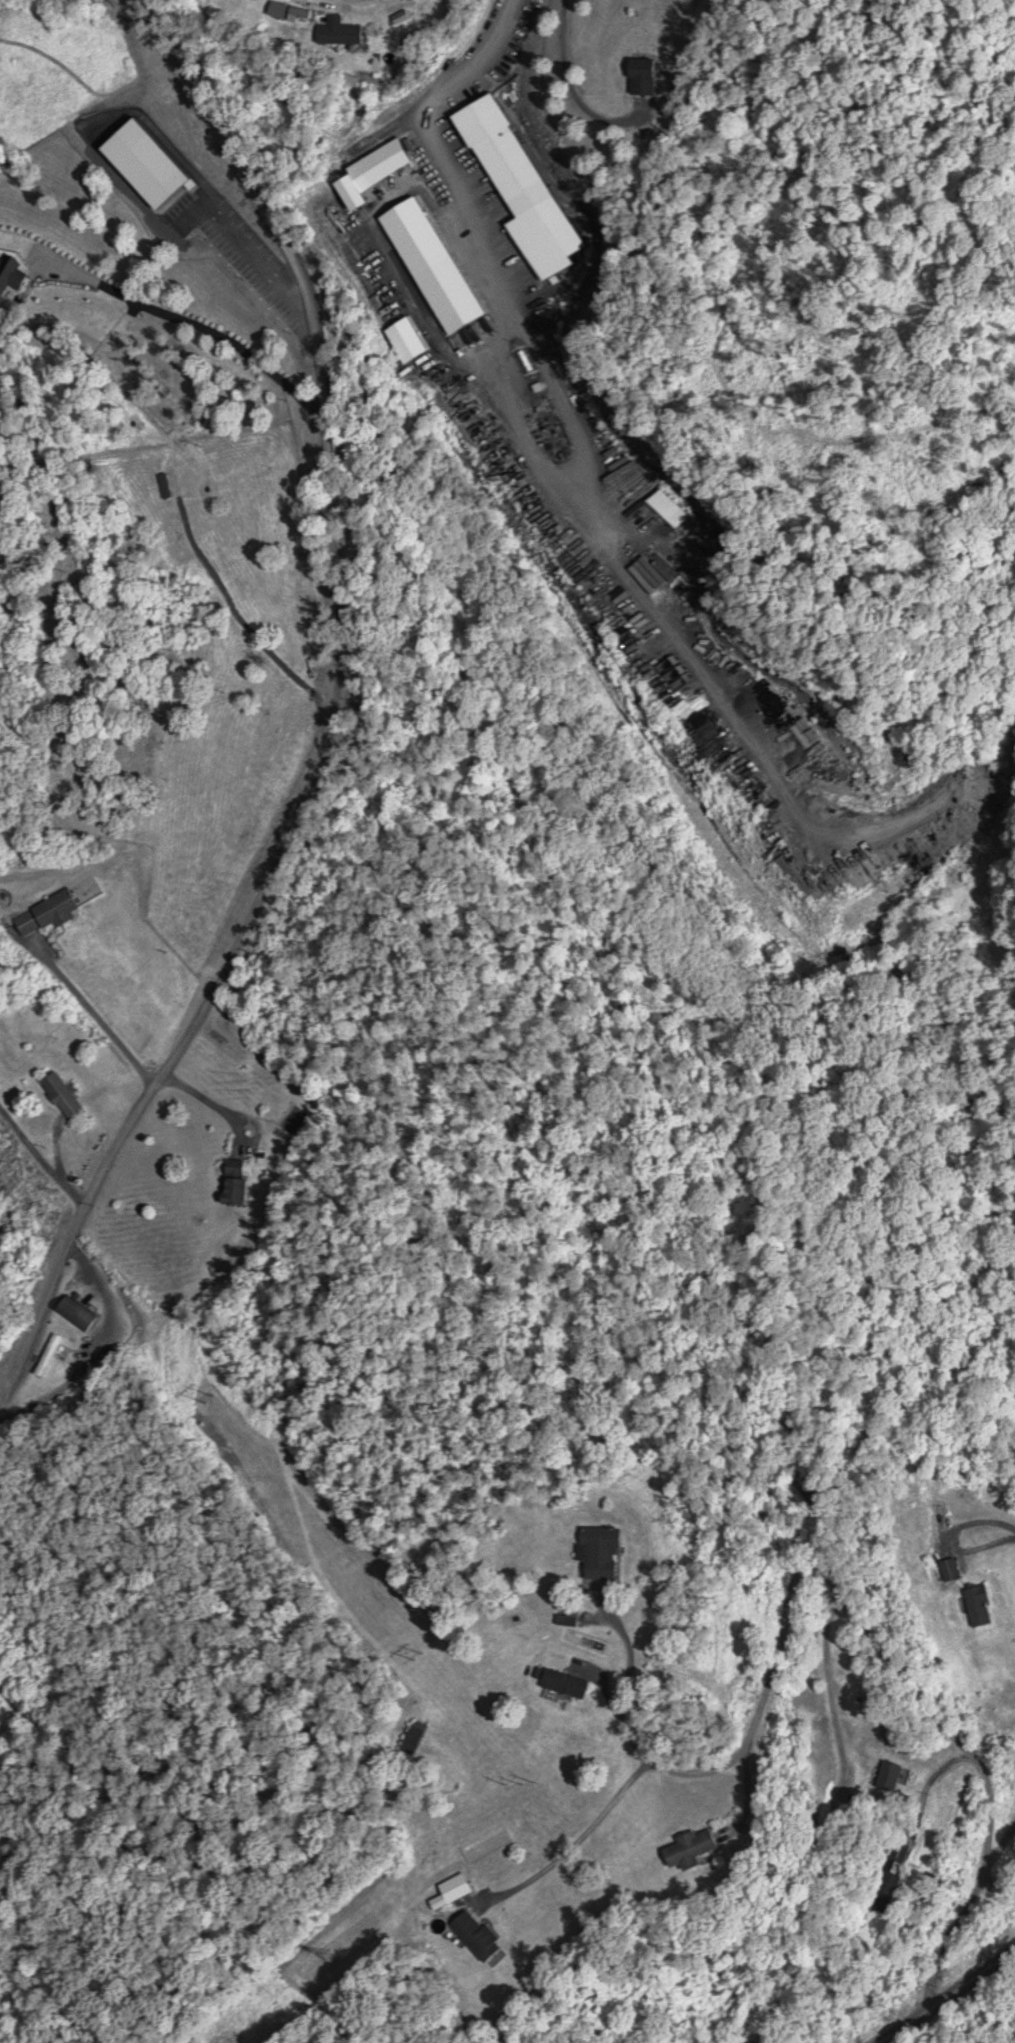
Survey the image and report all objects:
building: (278, 8)
building: (339, 31)
building: (642, 75)
road: (570, 89)
building: (385, 160)
building: (507, 162)
building: (228, 239)
building: (10, 273)
road: (526, 328)
building: (287, 663)
road: (341, 712)
building: (47, 913)
building: (63, 1096)
building: (235, 1182)
building: (76, 1313)
building: (49, 1355)
power tower: (205, 1395)
building: (600, 1553)
building: (977, 1605)
road: (865, 1629)
power tower: (415, 1654)
road: (628, 1669)
road: (829, 1673)
building: (563, 1683)
building: (413, 1739)
building: (888, 1776)
road: (745, 1784)
power tower: (521, 1787)
road: (924, 1792)
road: (583, 1833)
road: (1000, 1842)
building: (688, 1846)
building: (476, 1934)
power tower: (329, 1959)
road: (946, 1996)
building: (745, 2040)

